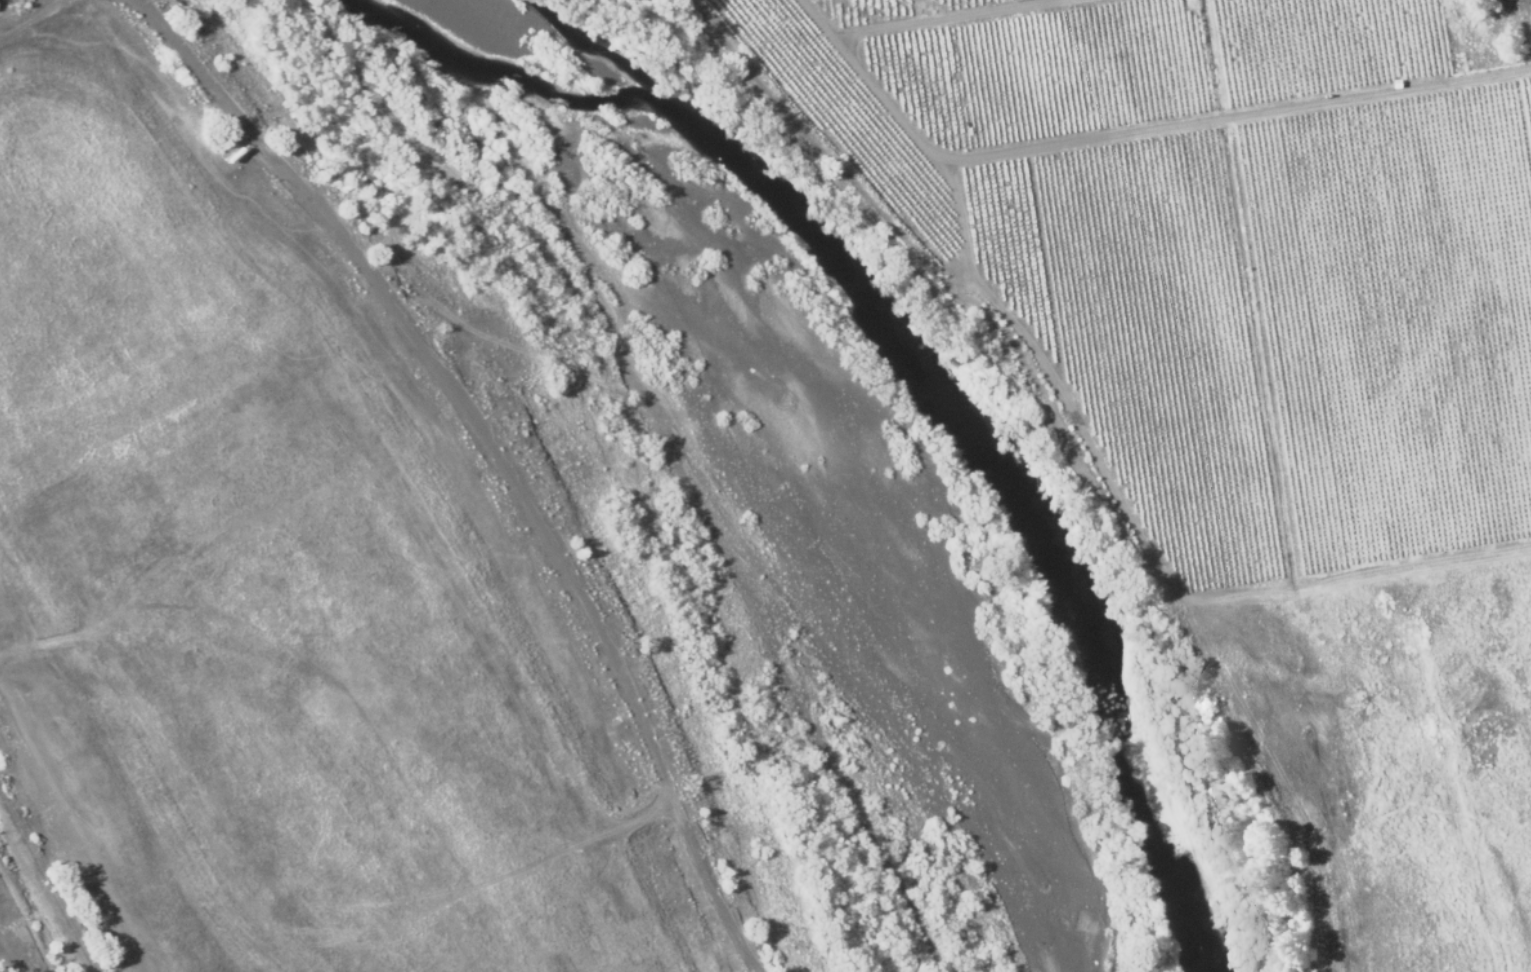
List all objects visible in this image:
road: (72, 0)
road: (35, 22)
road: (819, 149)
river: (931, 396)
road: (498, 452)
road: (157, 786)
railway: (47, 881)

